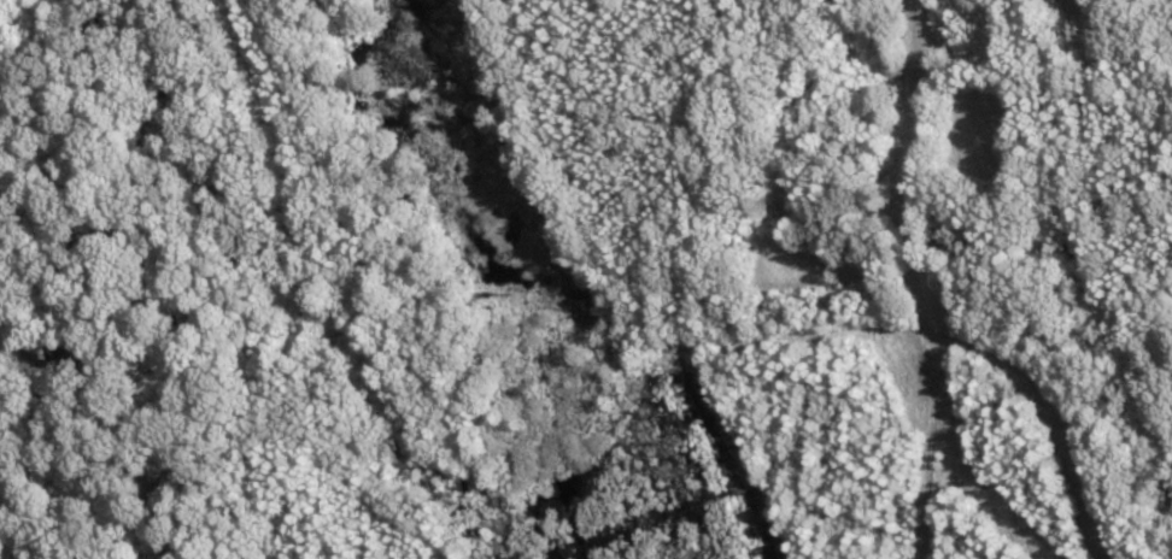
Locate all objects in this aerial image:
building: (885, 41)
road: (962, 88)

